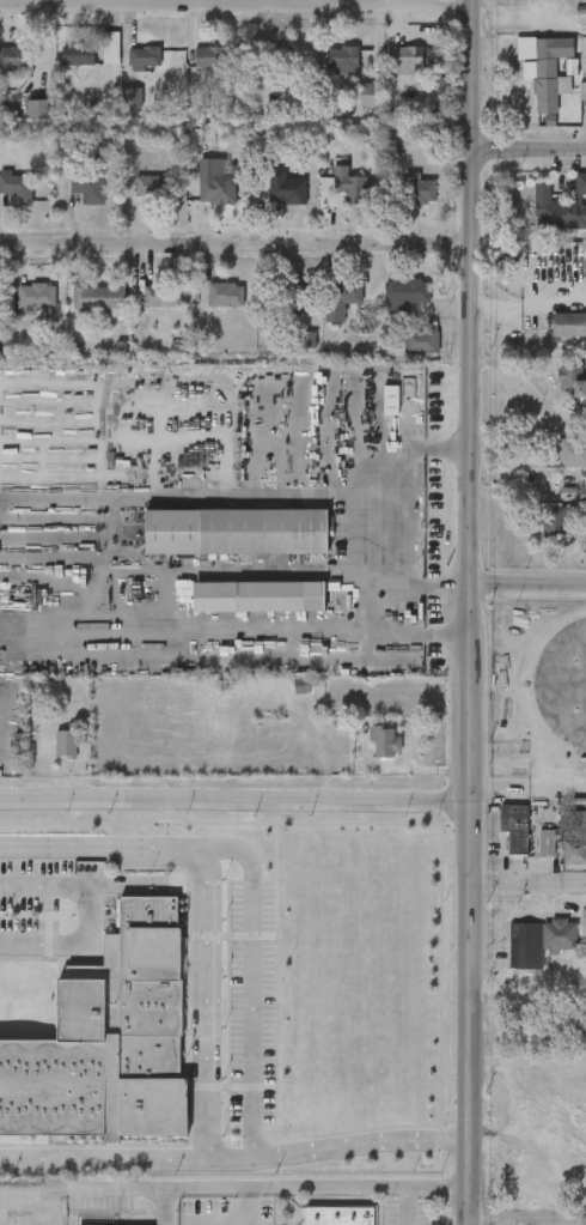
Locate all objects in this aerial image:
road: (237, 4)
building: (110, 48)
building: (75, 55)
building: (274, 55)
building: (11, 57)
building: (209, 57)
building: (144, 59)
building: (407, 61)
building: (341, 62)
building: (584, 65)
building: (551, 71)
building: (367, 95)
building: (132, 98)
building: (37, 110)
building: (68, 140)
building: (210, 144)
road: (529, 148)
building: (17, 188)
building: (87, 188)
building: (149, 188)
building: (347, 188)
building: (415, 192)
building: (216, 193)
building: (286, 193)
building: (560, 206)
road: (237, 245)
road: (474, 291)
building: (407, 292)
building: (160, 297)
building: (224, 297)
building: (297, 298)
building: (31, 299)
building: (98, 301)
building: (336, 308)
building: (568, 323)
building: (306, 340)
building: (421, 340)
building: (572, 376)
building: (391, 400)
road: (550, 408)
road: (433, 448)
building: (570, 453)
building: (585, 492)
building: (551, 515)
building: (237, 530)
road: (379, 556)
road: (527, 583)
building: (257, 596)
road: (376, 605)
road: (426, 635)
building: (65, 742)
building: (385, 744)
road: (233, 796)
building: (514, 824)
building: (573, 835)
building: (545, 841)
road: (252, 880)
road: (527, 883)
road: (468, 904)
road: (93, 908)
building: (539, 939)
road: (206, 1002)
building: (106, 1038)
road: (233, 1162)
road: (265, 1187)
road: (32, 1195)
road: (164, 1206)
building: (337, 1215)
road: (526, 1218)
building: (99, 1220)
road: (536, 1221)

